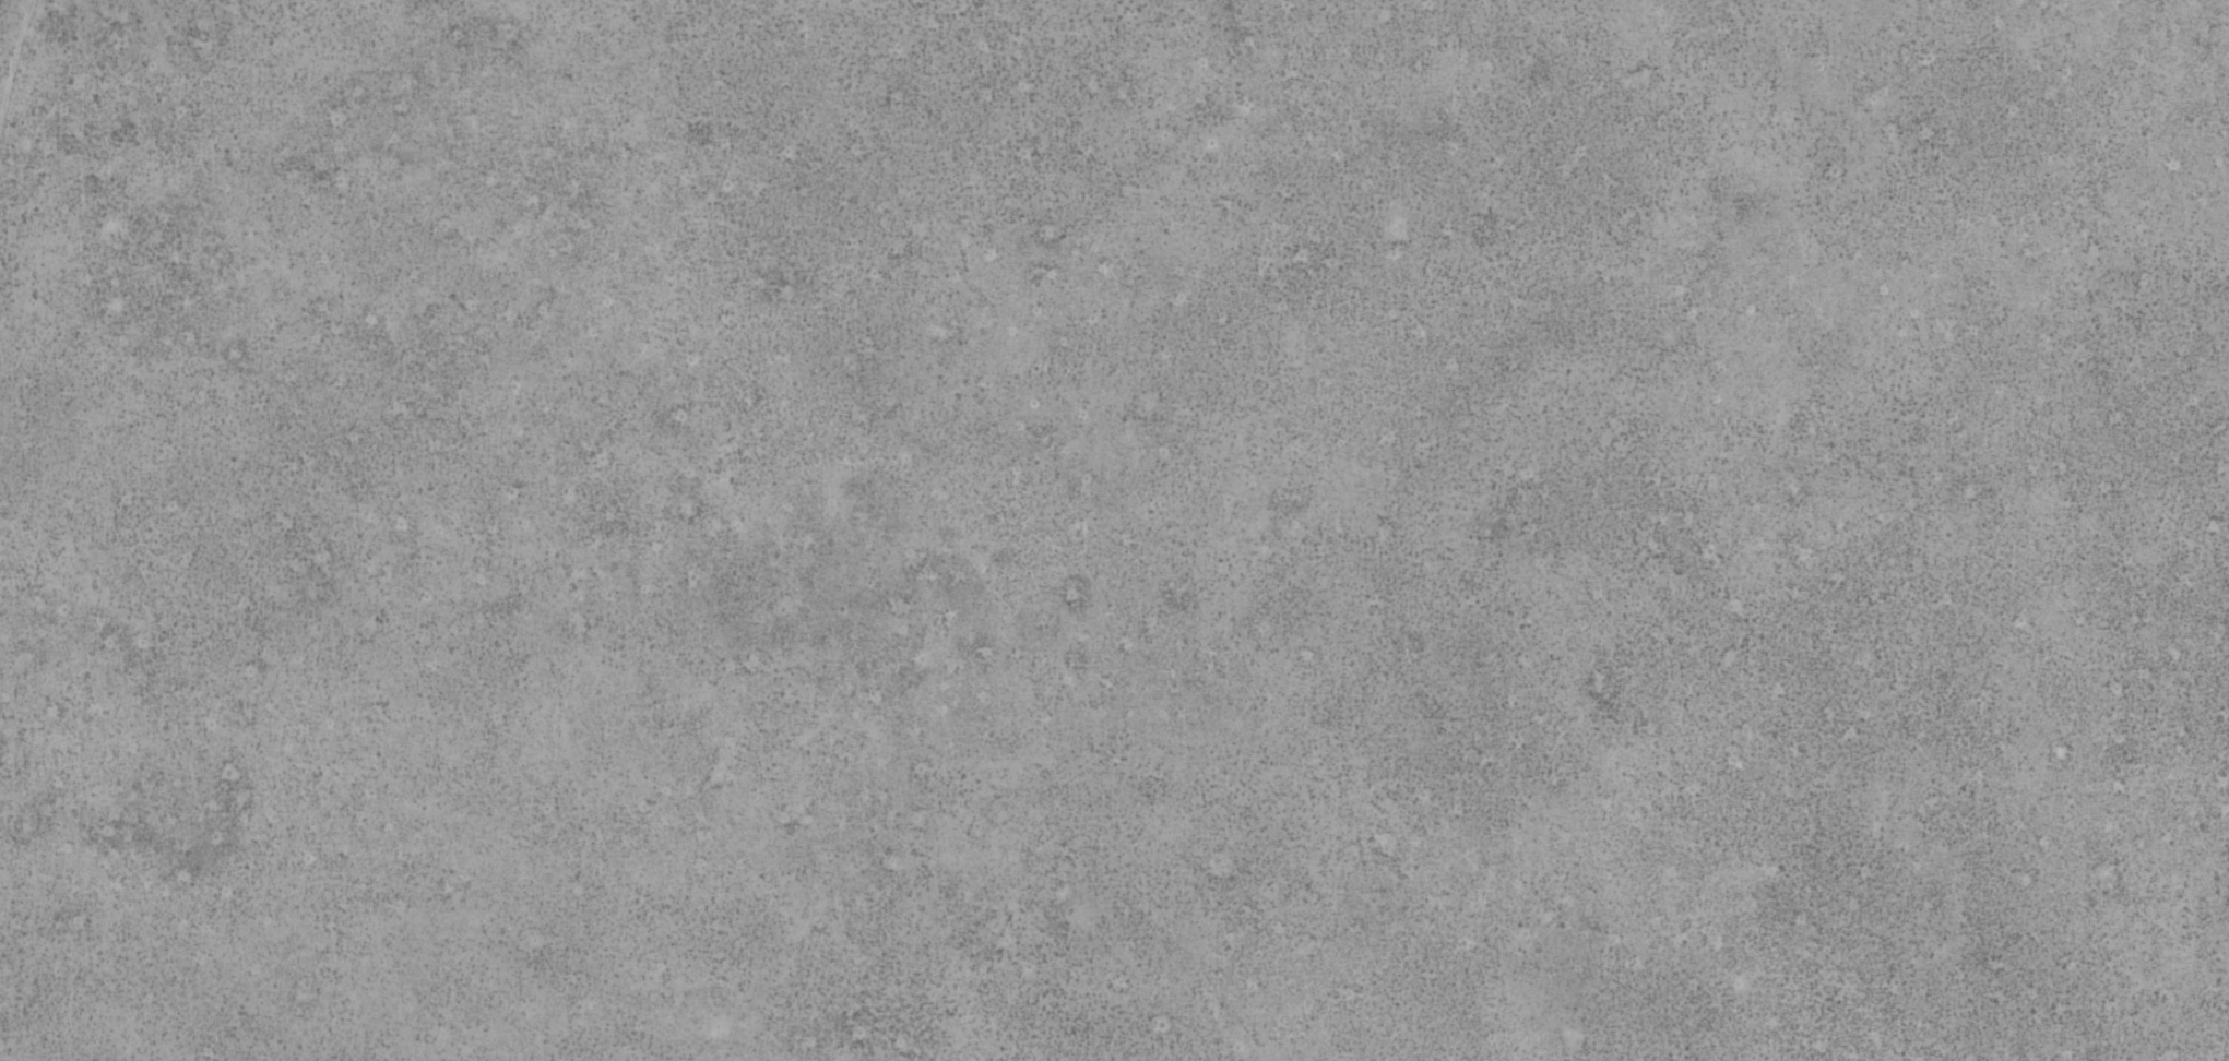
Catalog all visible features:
road: (122, 529)

